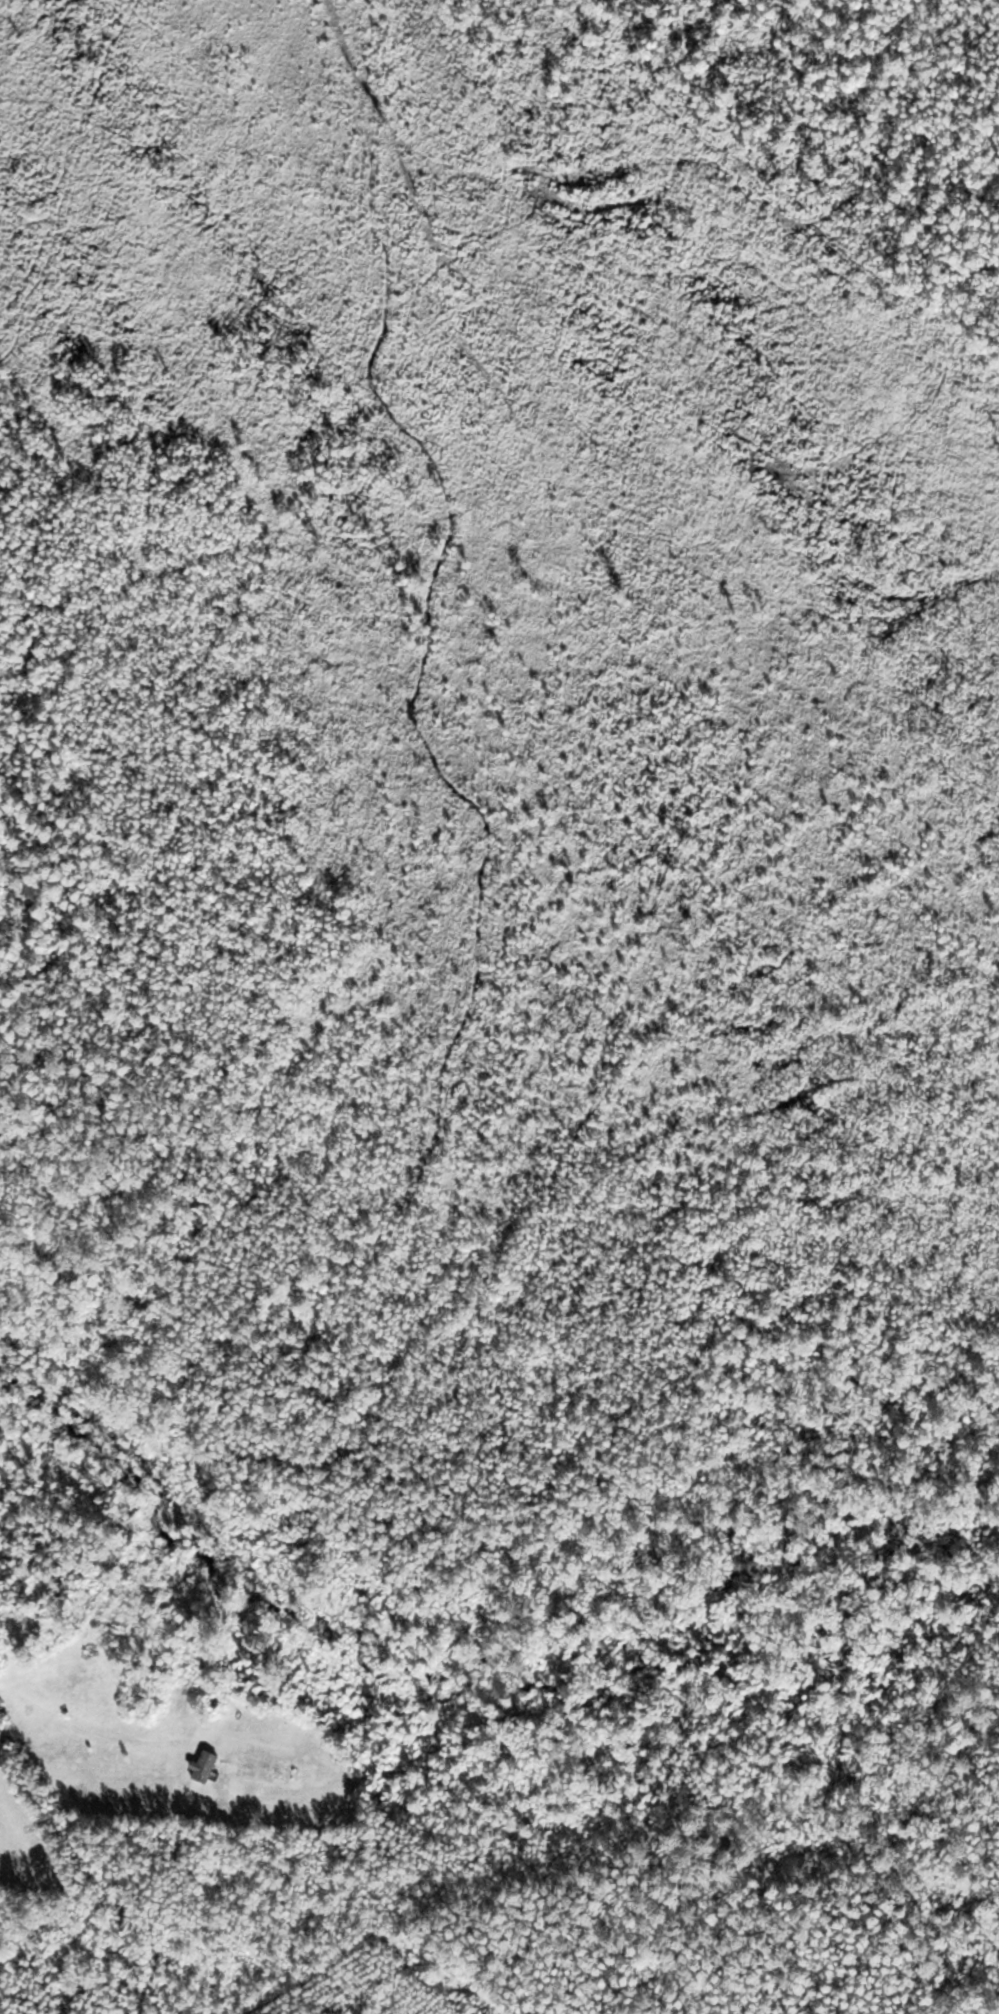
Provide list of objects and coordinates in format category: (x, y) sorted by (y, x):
building: (209, 1766)

